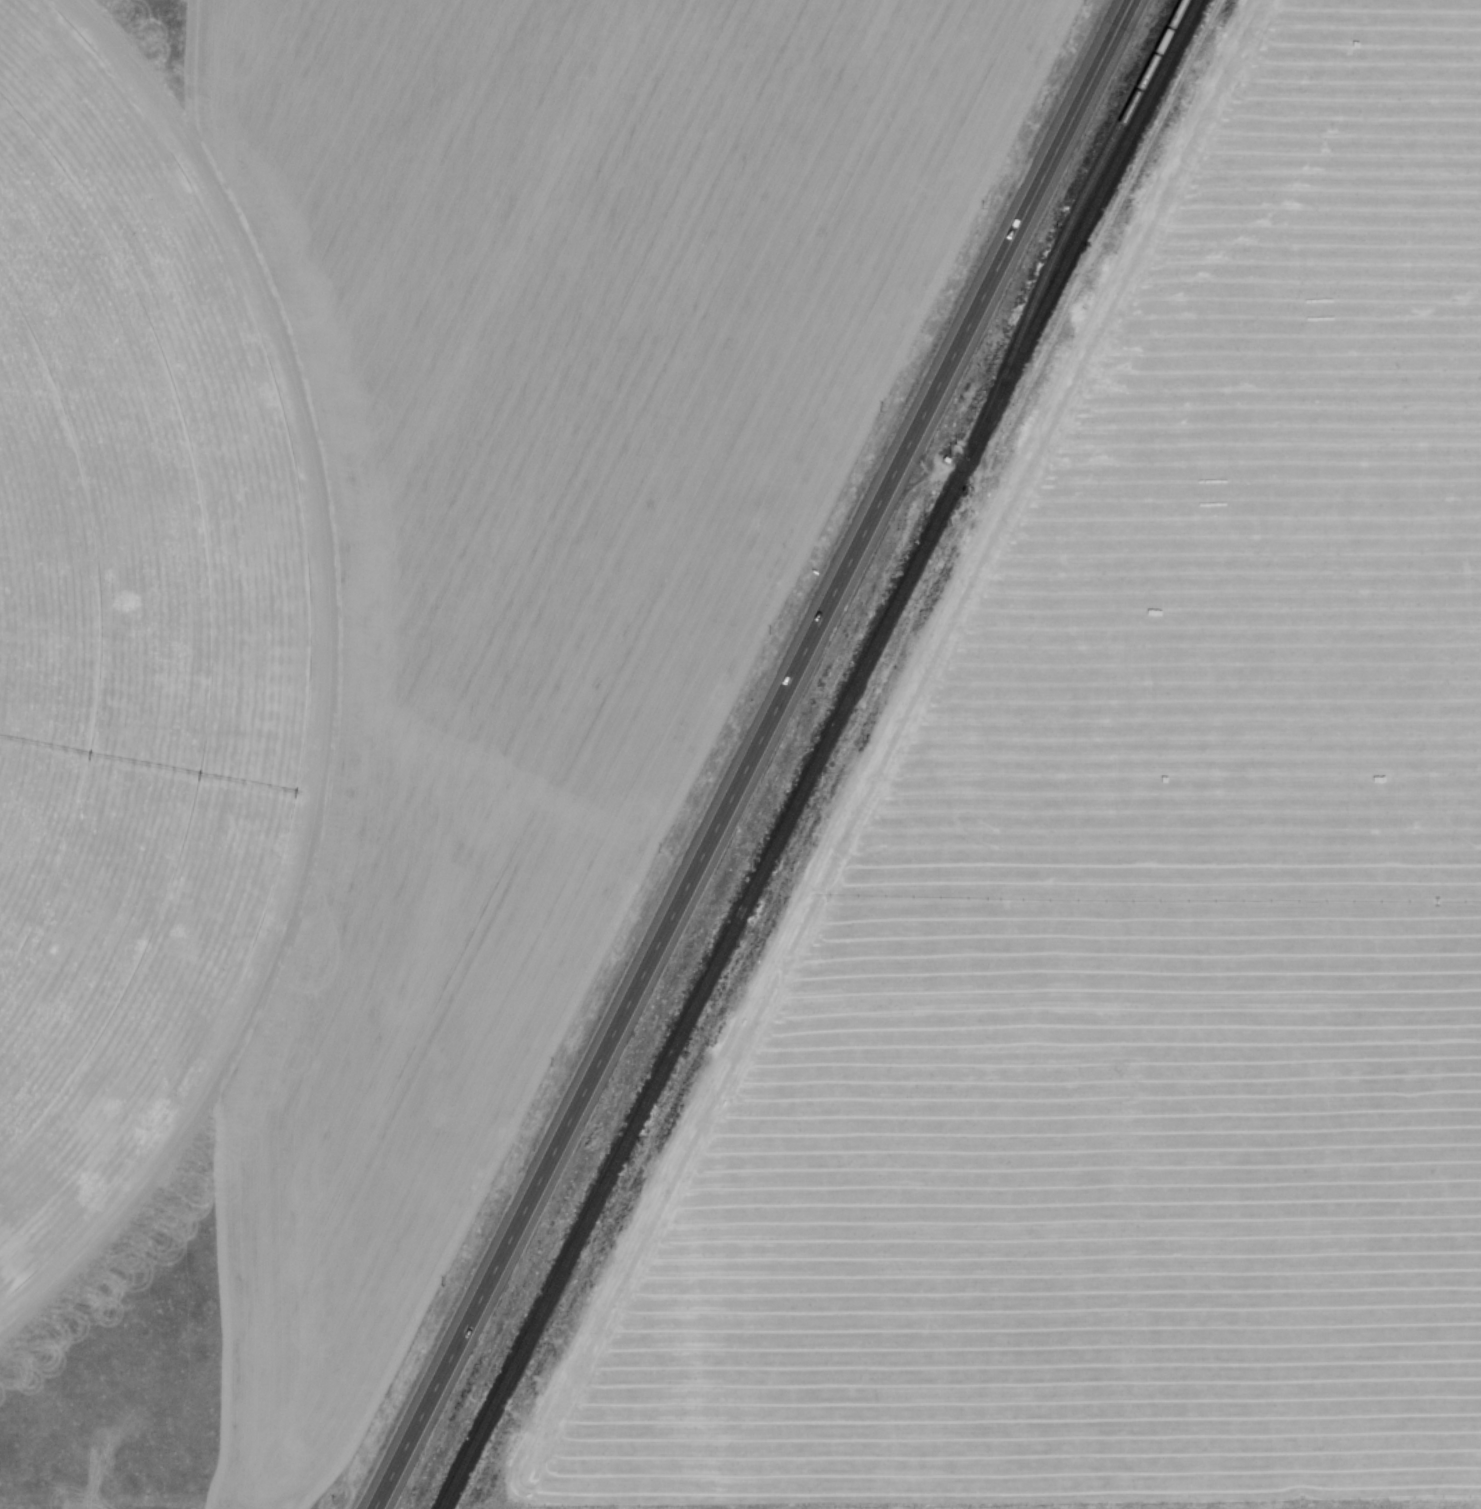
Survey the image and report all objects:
railway: (1064, 225)
railway: (1087, 229)
road: (751, 754)
railway: (704, 983)

